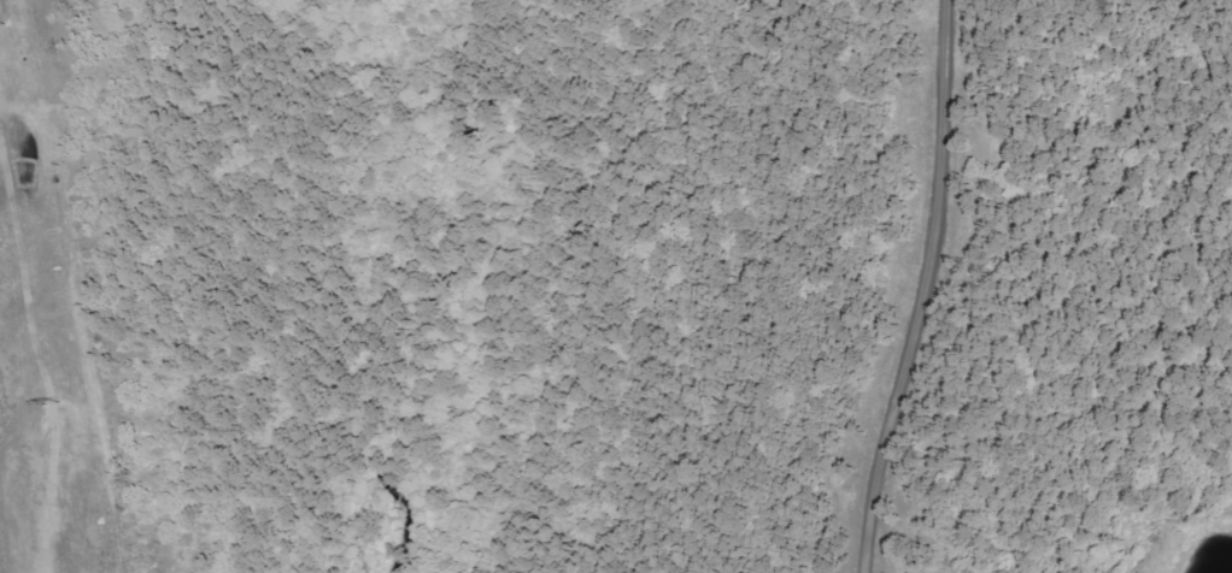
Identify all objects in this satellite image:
road: (926, 288)

